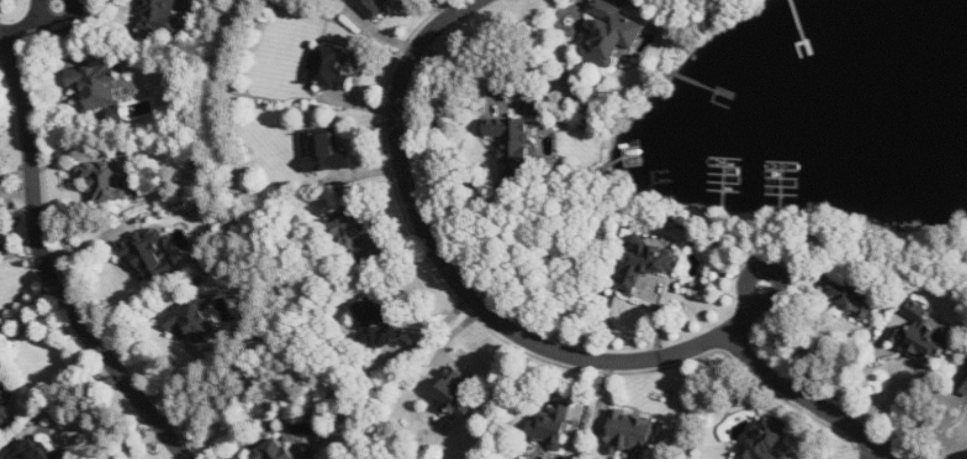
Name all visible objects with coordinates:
building: (373, 6)
road: (57, 24)
road: (20, 28)
building: (613, 33)
road: (462, 62)
building: (333, 69)
building: (96, 85)
building: (515, 146)
building: (326, 151)
building: (106, 180)
road: (17, 193)
road: (276, 250)
building: (149, 256)
building: (649, 262)
road: (449, 269)
road: (48, 270)
road: (774, 271)
building: (853, 297)
road: (28, 307)
road: (743, 318)
building: (191, 321)
building: (377, 323)
road: (32, 324)
building: (928, 335)
building: (963, 385)
road: (75, 391)
building: (457, 396)
road: (812, 400)
building: (5, 411)
building: (554, 427)
building: (631, 432)
building: (765, 440)
building: (37, 450)
road: (873, 450)
building: (275, 451)

